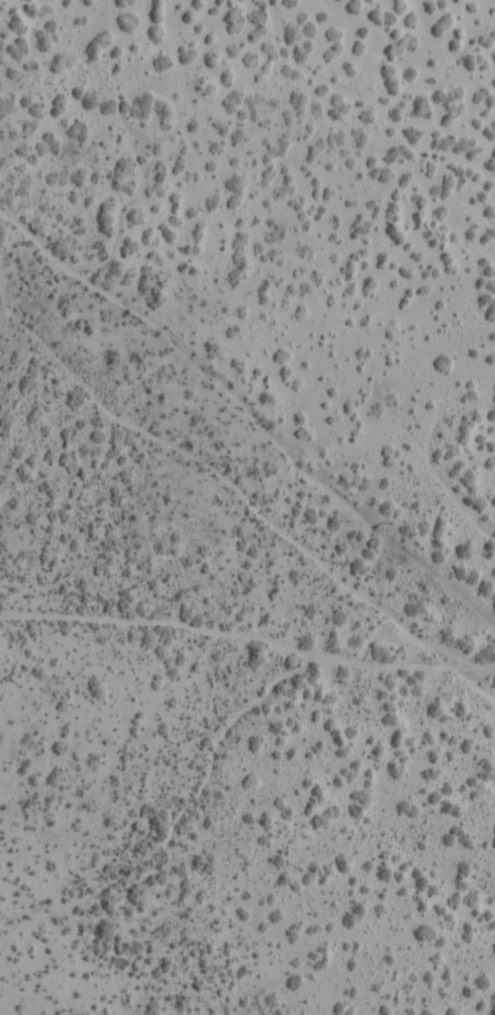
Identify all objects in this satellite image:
building: (398, 909)

